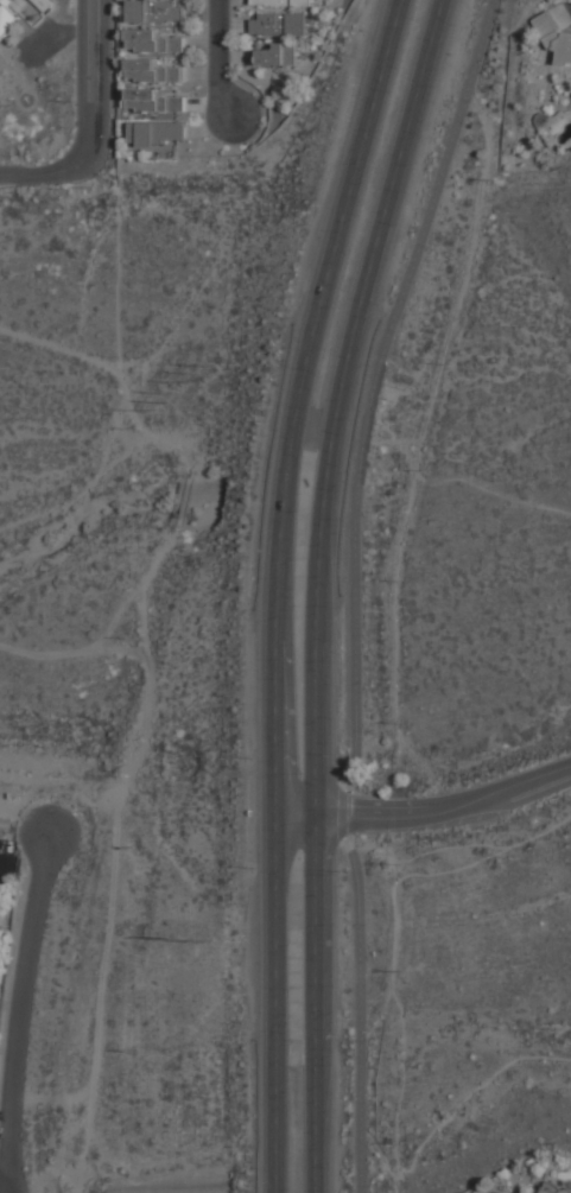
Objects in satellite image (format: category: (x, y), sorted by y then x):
building: (280, 2)
building: (43, 4)
building: (153, 11)
building: (6, 17)
building: (278, 24)
building: (546, 24)
building: (157, 40)
building: (274, 53)
road: (218, 59)
building: (151, 71)
road: (90, 76)
building: (152, 101)
building: (154, 133)
road: (46, 173)
road: (343, 216)
road: (392, 220)
road: (425, 226)
power tower: (199, 381)
power tower: (170, 402)
road: (363, 468)
road: (290, 477)
road: (326, 481)
park: (495, 505)
road: (425, 811)
road: (342, 836)
road: (459, 845)
road: (274, 856)
road: (313, 857)
road: (5, 862)
building: (0, 915)
power tower: (172, 939)
power tower: (207, 941)
road: (17, 1011)
road: (455, 1111)
road: (5, 1174)
road: (5, 1179)
road: (39, 1184)
building: (554, 1188)
building: (509, 1192)

